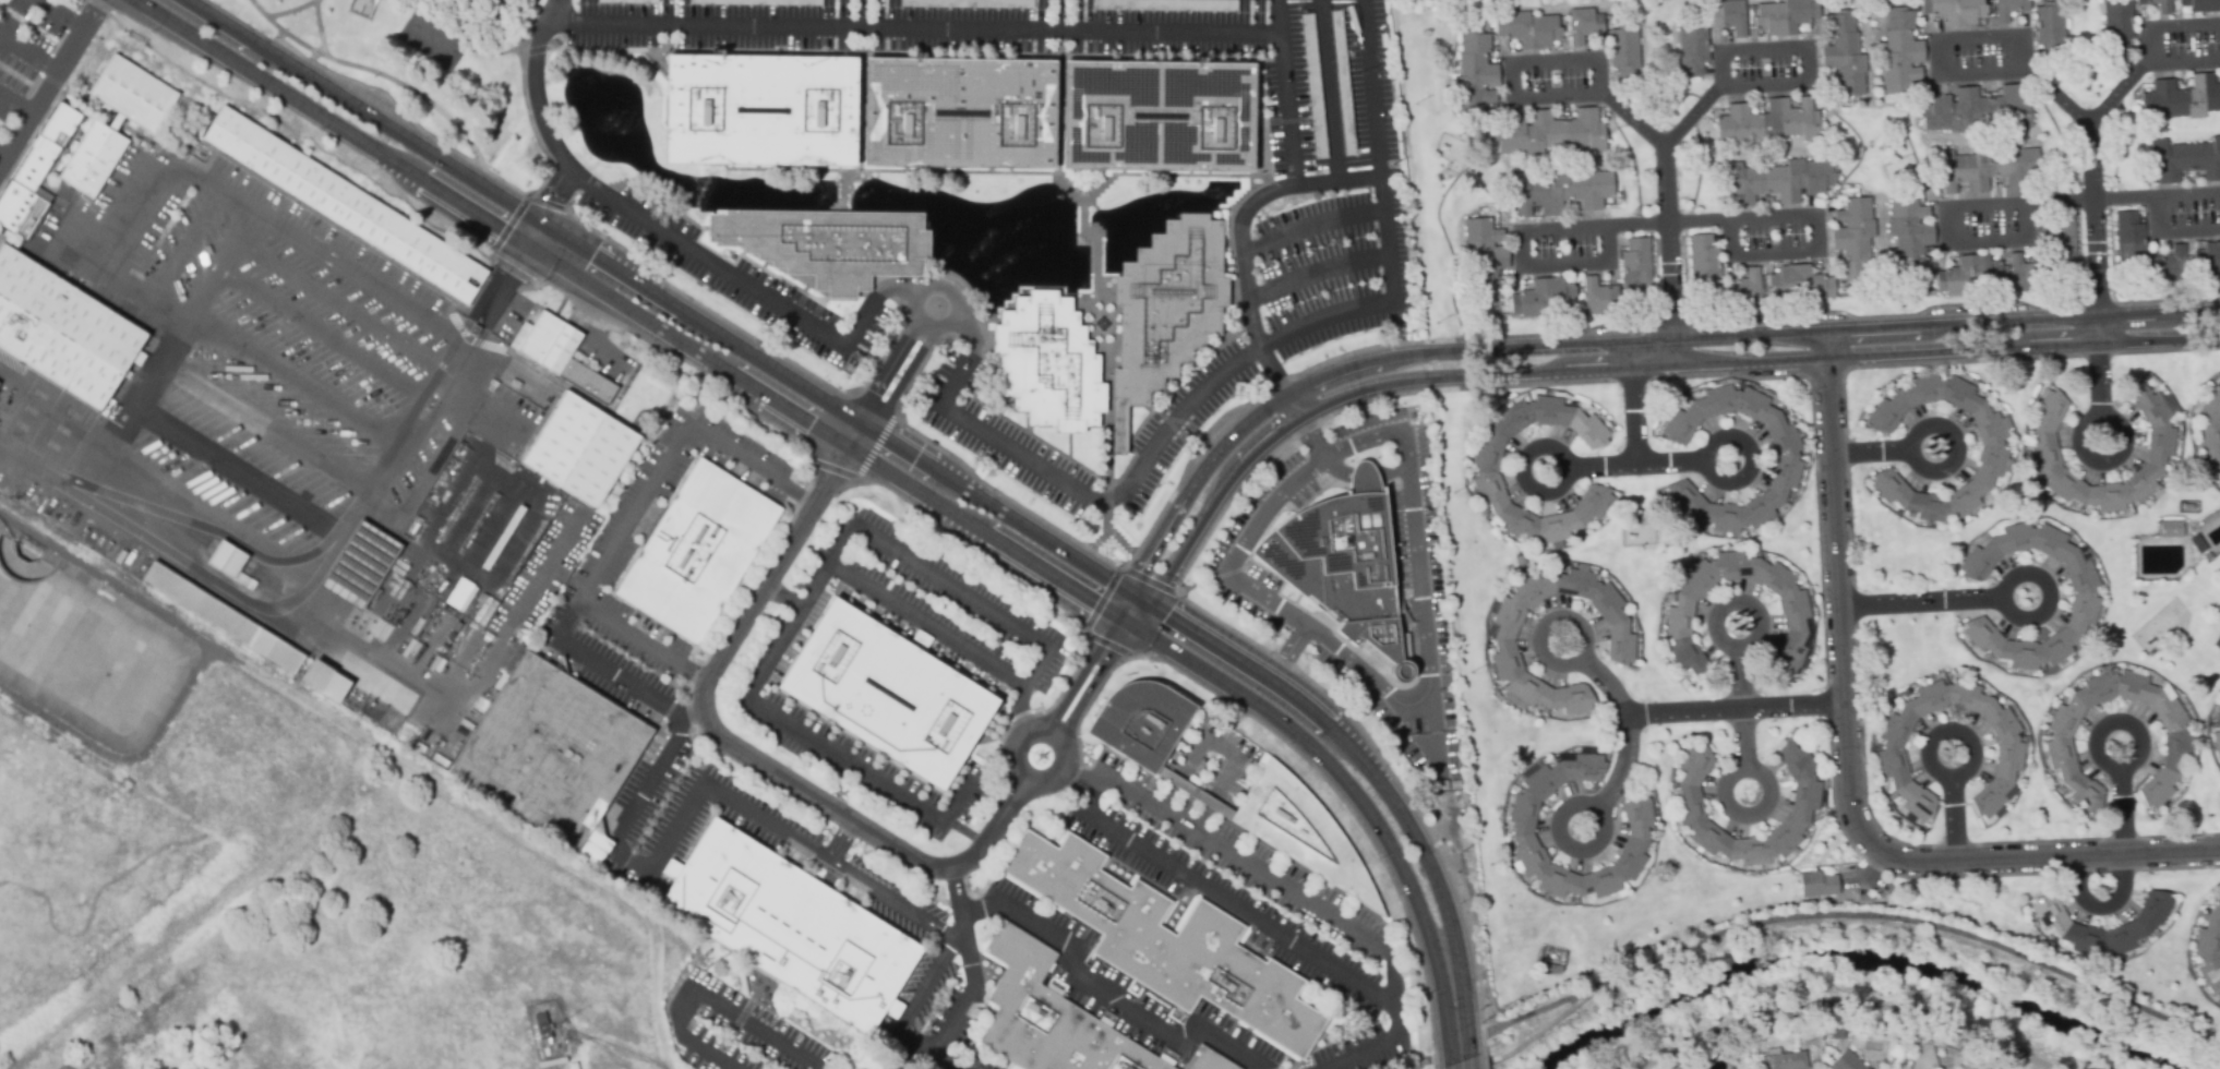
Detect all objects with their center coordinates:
building: (2158, 5)
building: (2201, 5)
park: (363, 8)
building: (2009, 9)
road: (290, 11)
building: (1956, 11)
road: (860, 13)
road: (56, 16)
building: (1730, 17)
building: (1785, 17)
building: (1584, 26)
building: (2116, 26)
road: (912, 27)
building: (2050, 27)
road: (2165, 27)
road: (320, 29)
building: (1528, 31)
park: (432, 40)
building: (1692, 48)
building: (1625, 52)
building: (1900, 52)
building: (1843, 56)
road: (28, 57)
road: (2183, 61)
park: (430, 67)
building: (1475, 76)
road: (51, 82)
building: (1341, 82)
road: (1762, 84)
road: (404, 85)
road: (536, 87)
road: (1330, 93)
road: (2117, 94)
road: (1286, 95)
road: (1517, 97)
road: (525, 99)
building: (2181, 99)
power tower: (1415, 101)
road: (15, 107)
building: (758, 108)
fountain: (608, 111)
building: (957, 111)
building: (1978, 111)
road: (2074, 111)
building: (1155, 116)
building: (113, 121)
building: (1768, 123)
building: (1551, 134)
road: (2, 156)
building: (2185, 160)
power tower: (1392, 166)
building: (1985, 169)
building: (34, 175)
building: (1777, 182)
building: (1559, 192)
road: (2083, 201)
building: (344, 205)
road: (1249, 211)
road: (128, 221)
road: (1593, 227)
road: (1313, 231)
building: (1911, 235)
building: (2129, 239)
building: (1853, 240)
building: (2062, 242)
building: (828, 244)
road: (181, 250)
road: (1775, 254)
building: (1484, 260)
building: (2207, 261)
building: (1705, 262)
building: (1636, 265)
building: (2171, 266)
road: (721, 272)
building: (1968, 275)
building: (2025, 275)
road: (1319, 278)
building: (1800, 286)
building: (1743, 289)
road: (1671, 292)
road: (913, 295)
building: (1598, 298)
building: (1543, 299)
building: (1163, 309)
road: (344, 312)
power tower: (1435, 321)
fountain: (1104, 325)
road: (593, 331)
building: (61, 332)
road: (331, 334)
power tower: (1408, 334)
road: (1616, 344)
building: (559, 353)
road: (169, 360)
building: (1045, 362)
road: (1629, 365)
road: (310, 367)
road: (1228, 371)
road: (1271, 371)
road: (892, 383)
road: (1631, 404)
road: (2088, 417)
building: (2209, 428)
road: (265, 437)
road: (1911, 440)
building: (1992, 448)
building: (578, 449)
building: (2161, 449)
road: (1705, 451)
road: (675, 452)
road: (1870, 453)
road: (893, 458)
road: (1565, 460)
building: (1787, 460)
road: (1635, 464)
building: (1487, 472)
road: (240, 477)
building: (2219, 483)
power tower: (1452, 492)
power tower: (1425, 504)
building: (2187, 507)
building: (2171, 528)
road: (207, 537)
building: (2198, 543)
building: (696, 551)
road: (1243, 551)
building: (2208, 557)
building: (225, 558)
building: (1344, 563)
building: (359, 565)
road: (325, 568)
parking lot: (1354, 578)
building: (459, 594)
building: (2084, 596)
road: (1920, 602)
road: (2005, 605)
traffic signals: (1137, 608)
building: (221, 616)
building: (1797, 618)
road: (559, 637)
building: (921, 638)
road: (1031, 640)
building: (1620, 645)
road: (1729, 645)
road: (1421, 650)
road: (1574, 660)
power tower: (1468, 671)
power tower: (1440, 674)
building: (324, 681)
building: (886, 694)
road: (466, 699)
road: (1740, 707)
road: (1732, 708)
road: (1035, 724)
road: (1623, 728)
road: (804, 735)
building: (2217, 735)
building: (2059, 748)
building: (2011, 750)
road: (2098, 750)
building: (549, 752)
road: (1848, 768)
road: (1751, 769)
road: (1941, 774)
building: (1276, 795)
road: (823, 802)
parking lot: (922, 803)
building: (1804, 803)
road: (1585, 804)
road: (1955, 821)
building: (1523, 829)
road: (780, 832)
road: (842, 842)
power tower: (1461, 848)
power tower: (1489, 862)
road: (1246, 866)
road: (2125, 873)
building: (1816, 886)
road: (1239, 910)
road: (1912, 924)
building: (790, 926)
building: (2063, 927)
building: (1166, 941)
building: (2210, 948)
road: (151, 957)
road: (943, 961)
building: (1544, 964)
building: (1556, 969)
road: (700, 990)
road: (1108, 995)
road: (1847, 1001)
building: (892, 1008)
power tower: (1507, 1010)
road: (1528, 1012)
building: (1047, 1017)
power tower: (1479, 1018)
building: (543, 1031)
road: (1534, 1035)
road: (612, 1050)
road: (1433, 1053)
road: (1464, 1053)
road: (945, 1056)
building: (1207, 1060)
building: (1785, 1061)
building: (1848, 1062)
road: (1270, 1068)
building: (1677, 1068)

